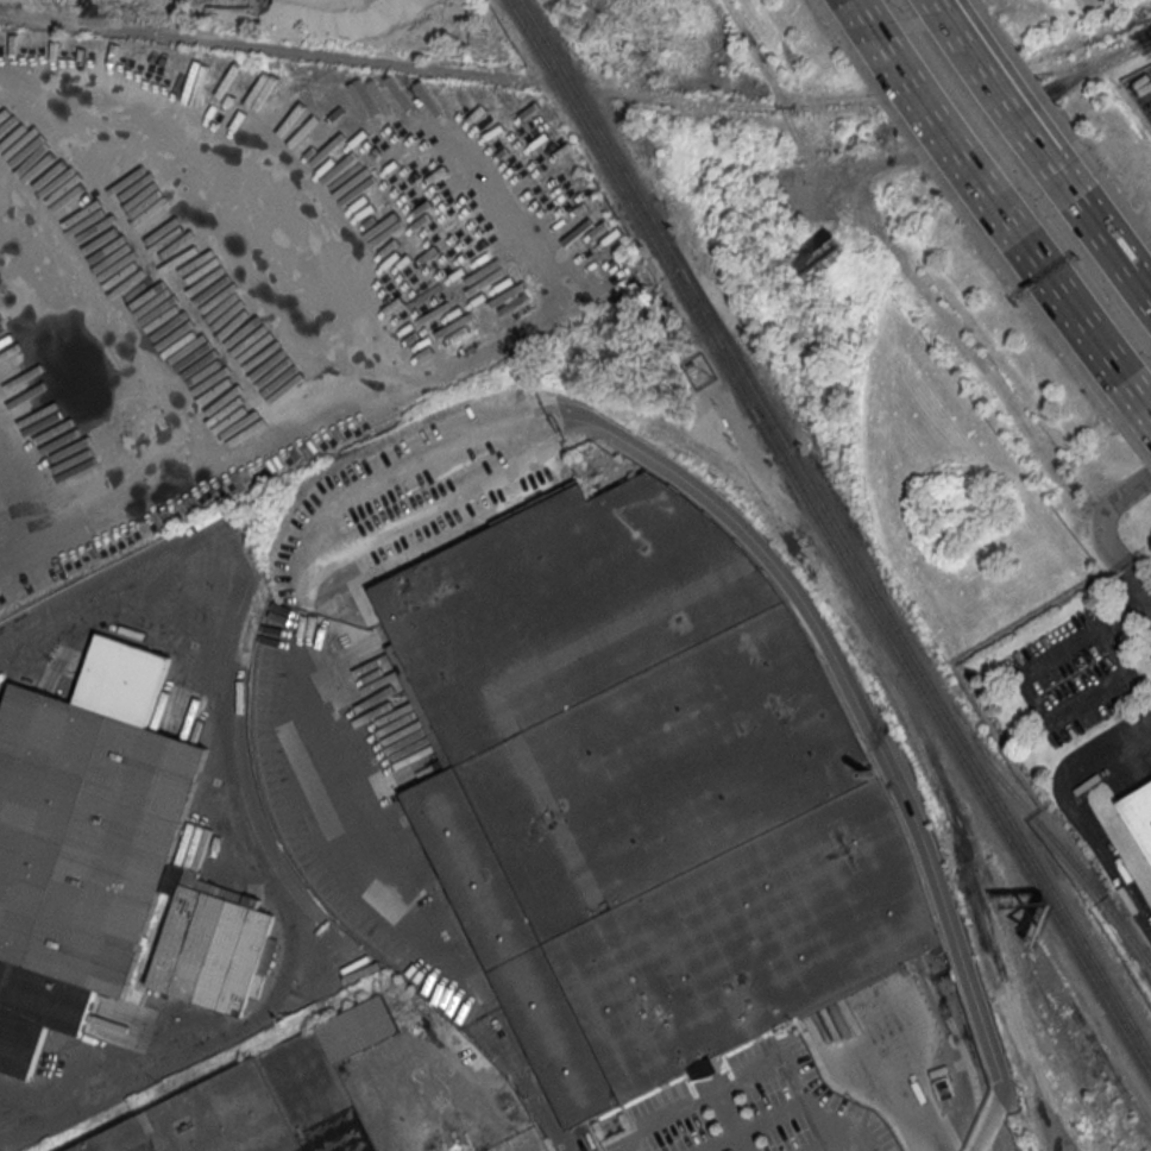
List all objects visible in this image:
road: (1004, 100)
road: (942, 117)
railway: (603, 136)
road: (239, 171)
railway: (633, 209)
road: (1115, 249)
road: (1078, 304)
railway: (724, 345)
road: (69, 358)
road: (377, 384)
road: (1140, 389)
road: (1106, 515)
road: (21, 527)
road: (1137, 589)
road: (92, 608)
railway: (917, 661)
road: (847, 691)
road: (1025, 698)
railway: (955, 746)
road: (1115, 748)
road: (363, 750)
building: (629, 781)
building: (1139, 818)
railway: (1063, 848)
building: (83, 851)
building: (214, 958)
road: (757, 1068)
building: (266, 1099)
road: (738, 1121)
road: (391, 1141)

